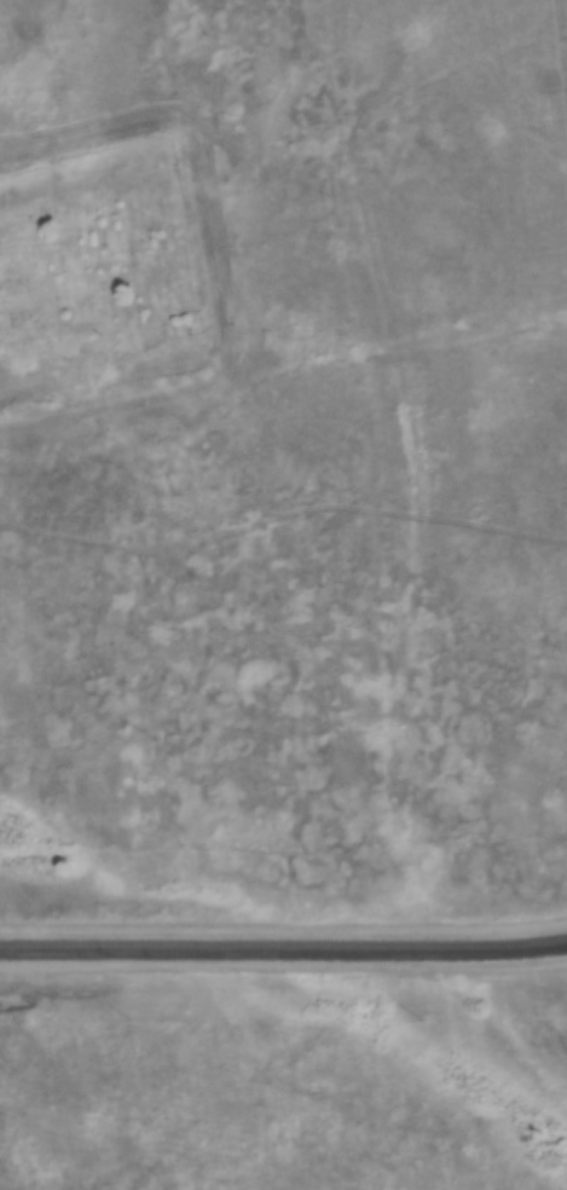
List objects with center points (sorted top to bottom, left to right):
park: (97, 272)
road: (283, 952)

